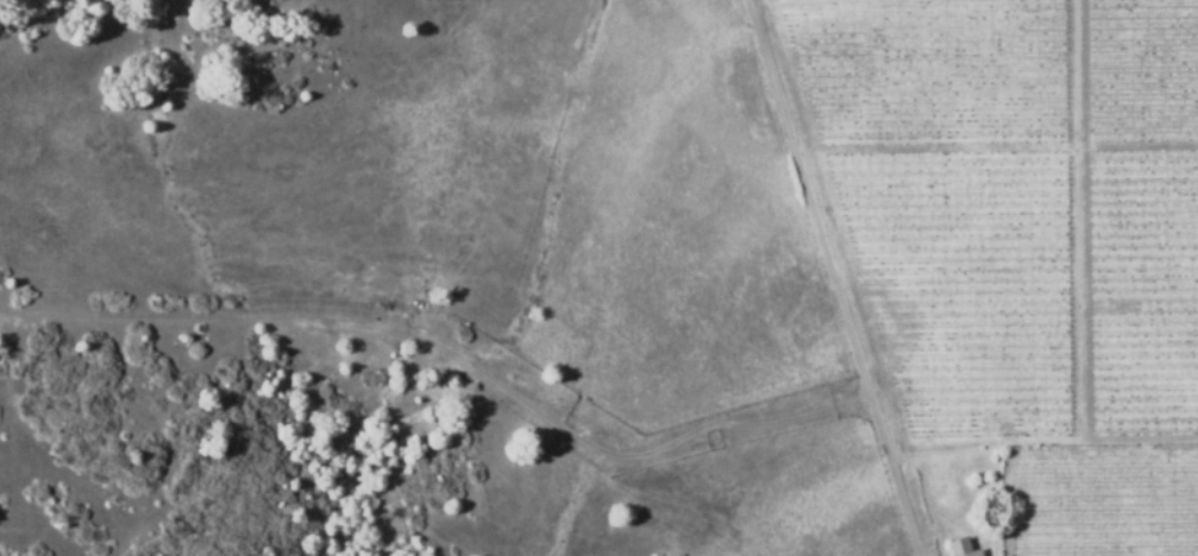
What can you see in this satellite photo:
road: (832, 277)
building: (961, 548)

